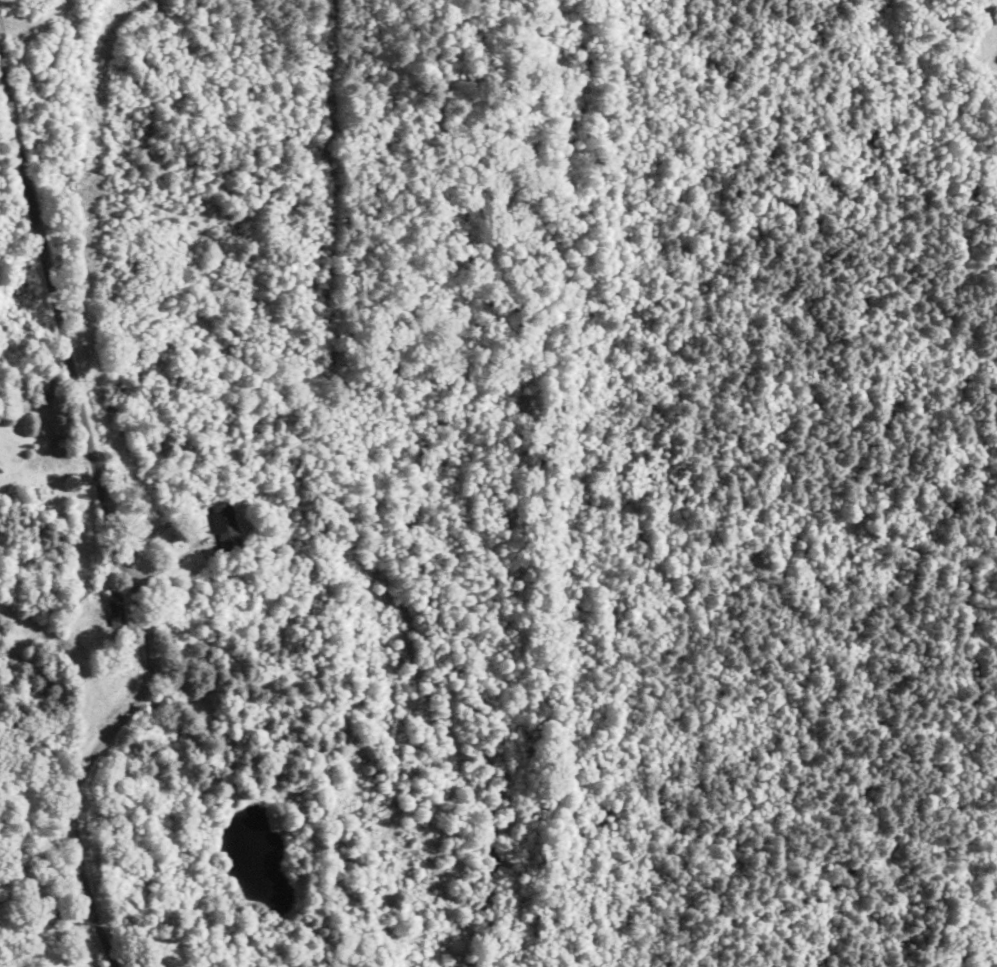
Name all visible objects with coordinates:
building: (224, 529)
building: (113, 611)
road: (94, 628)
building: (29, 841)

